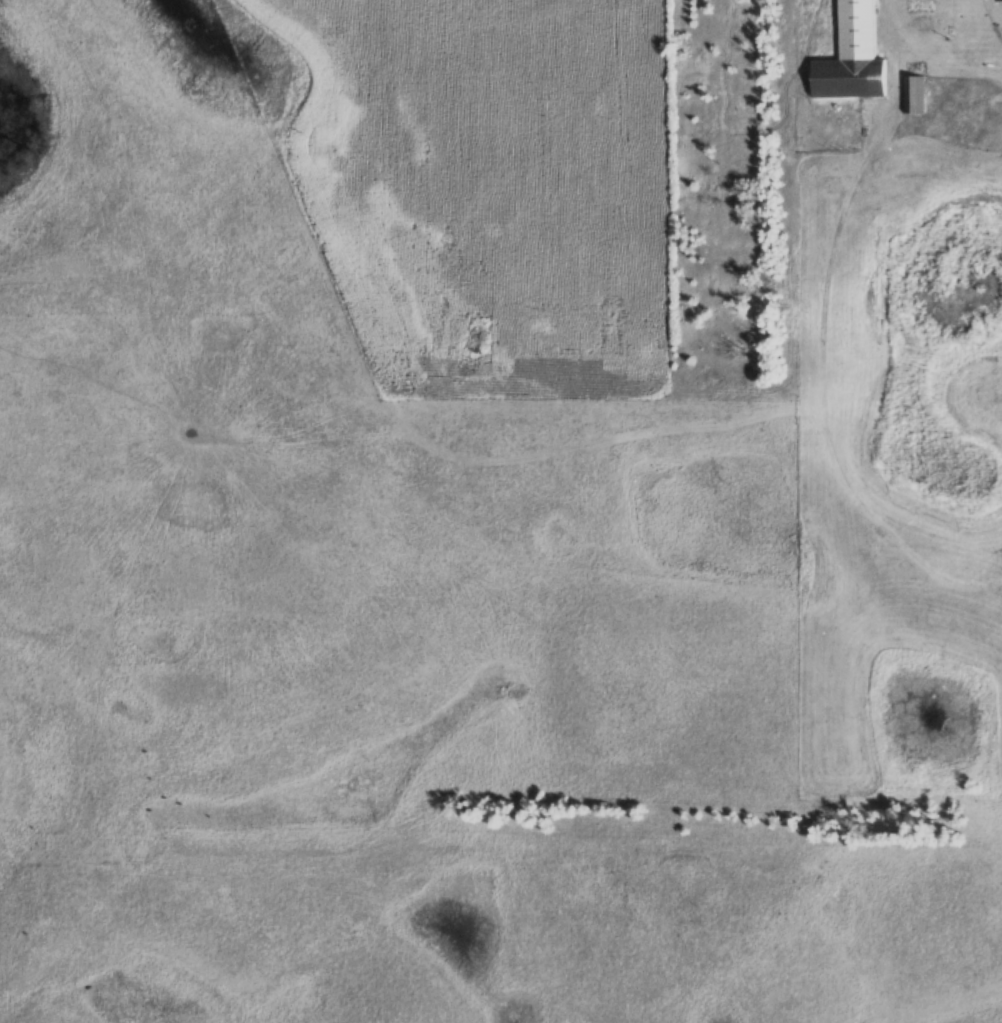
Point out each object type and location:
building: (852, 56)
building: (914, 94)

